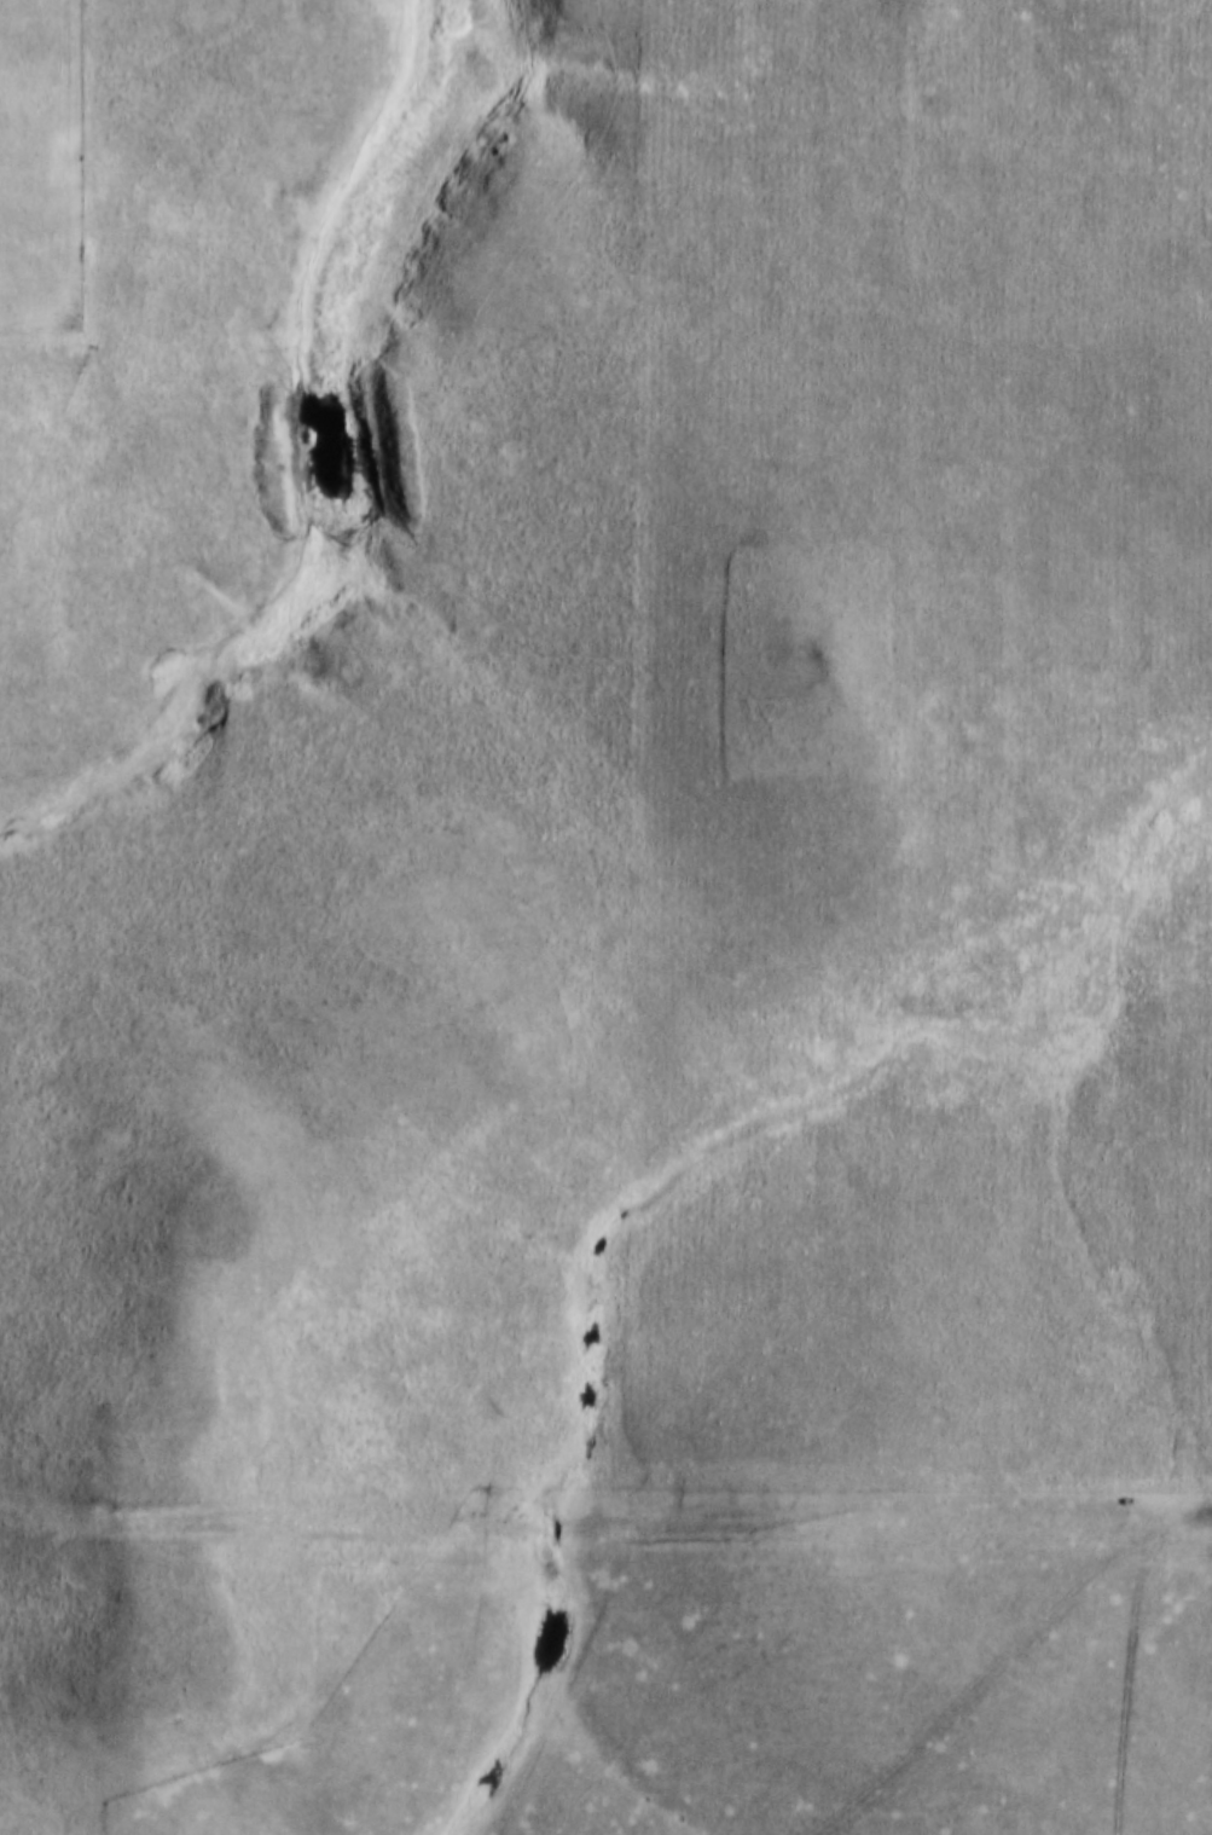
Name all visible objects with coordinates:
road: (1178, 1523)
road: (992, 1690)

